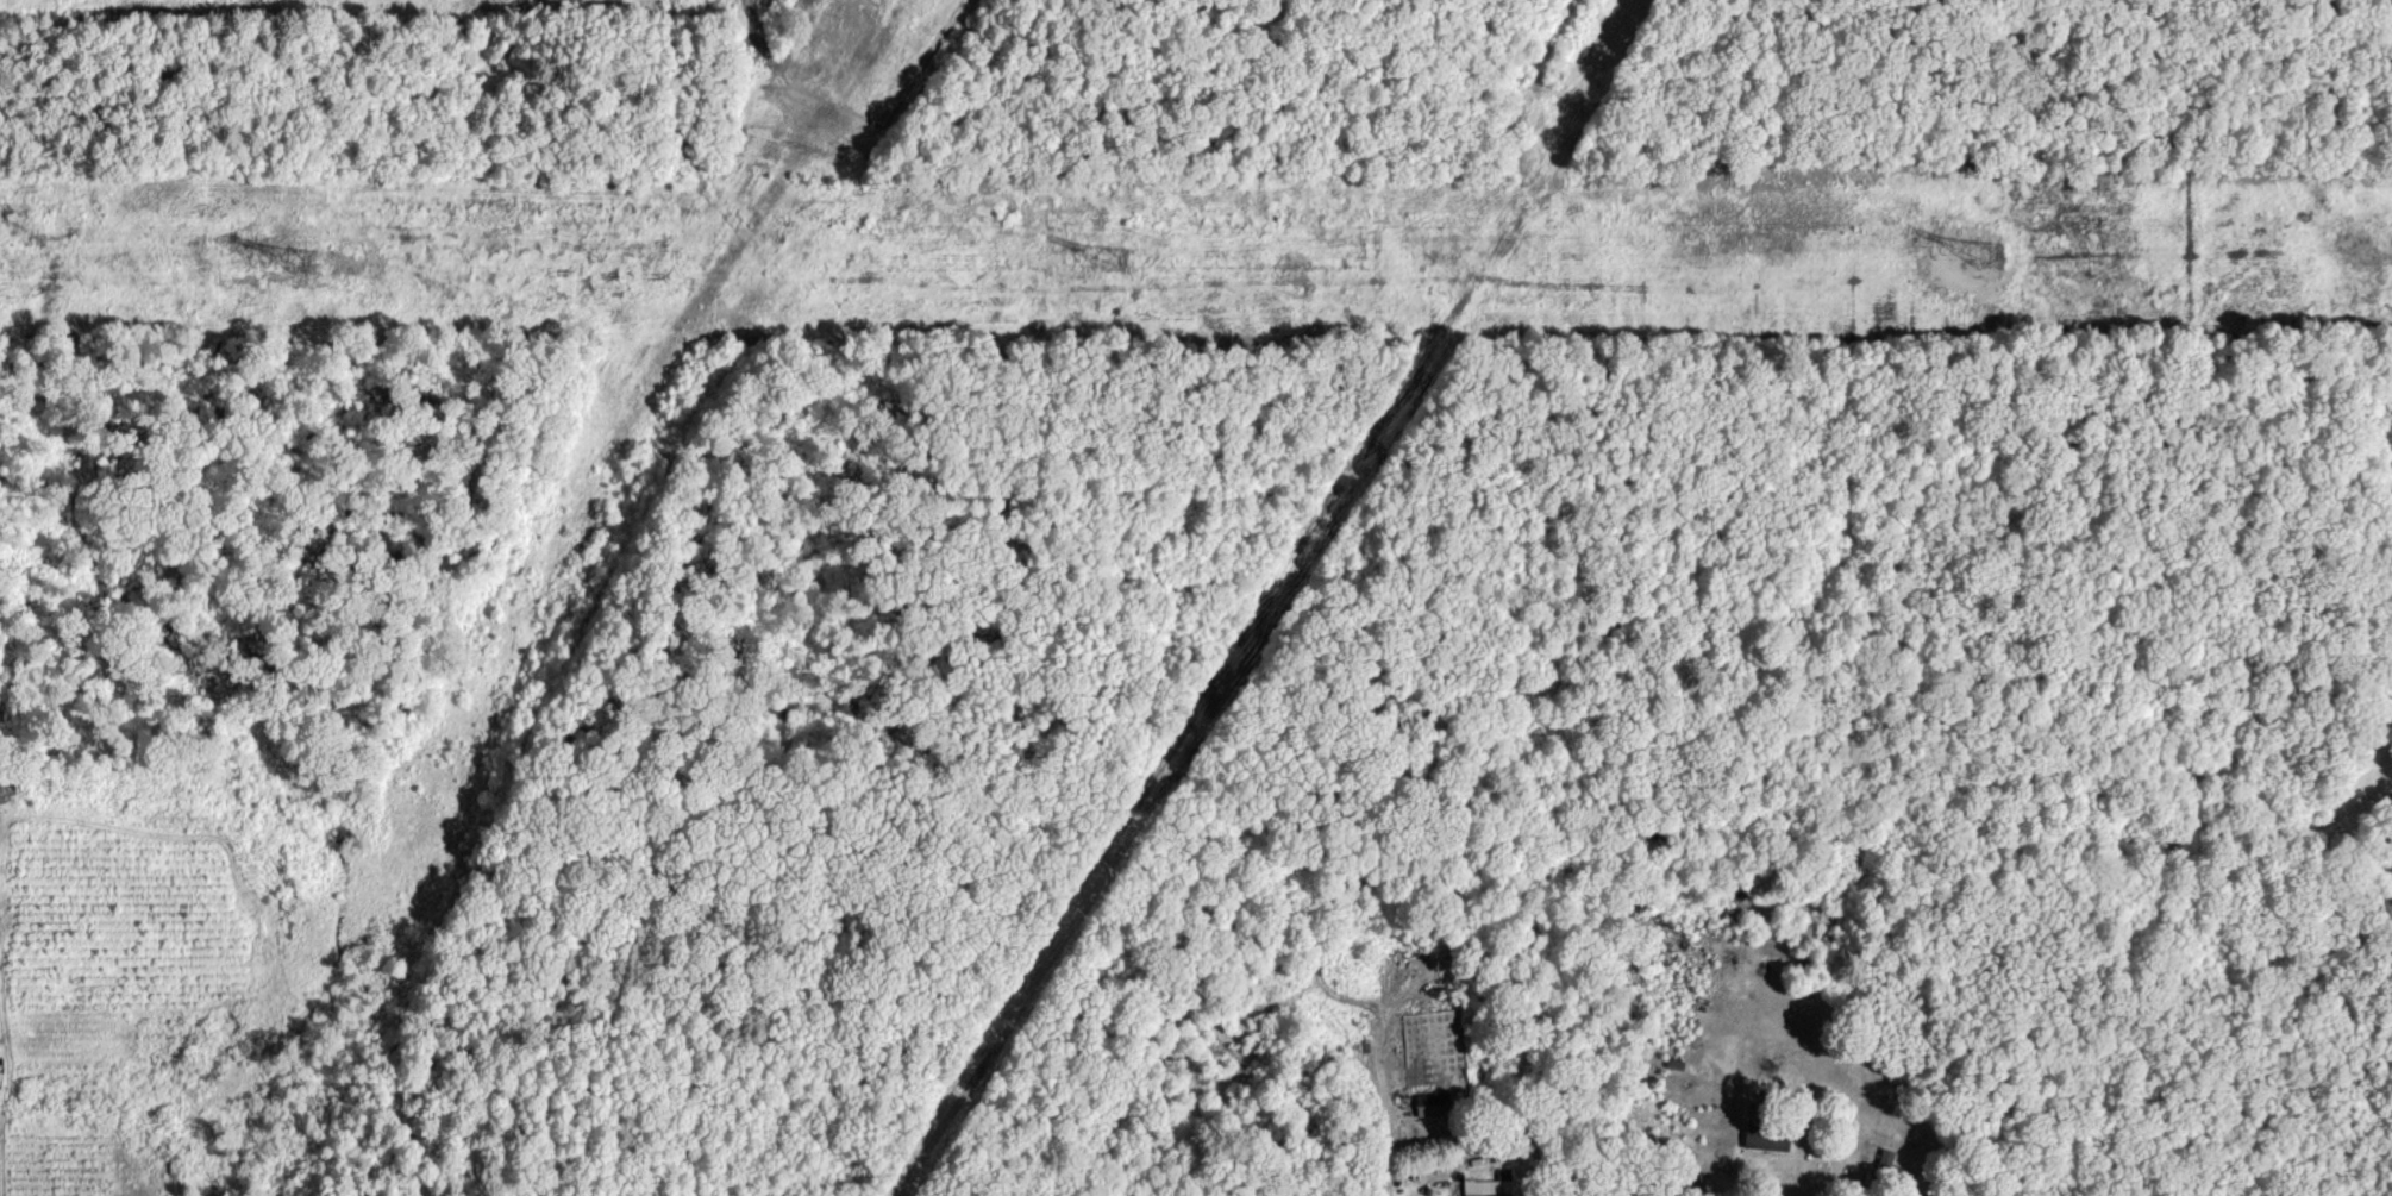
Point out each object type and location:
power tower: (1991, 256)
power tower: (1119, 257)
power tower: (305, 261)
building: (1765, 1138)
road: (1386, 1151)
building: (1480, 1188)

